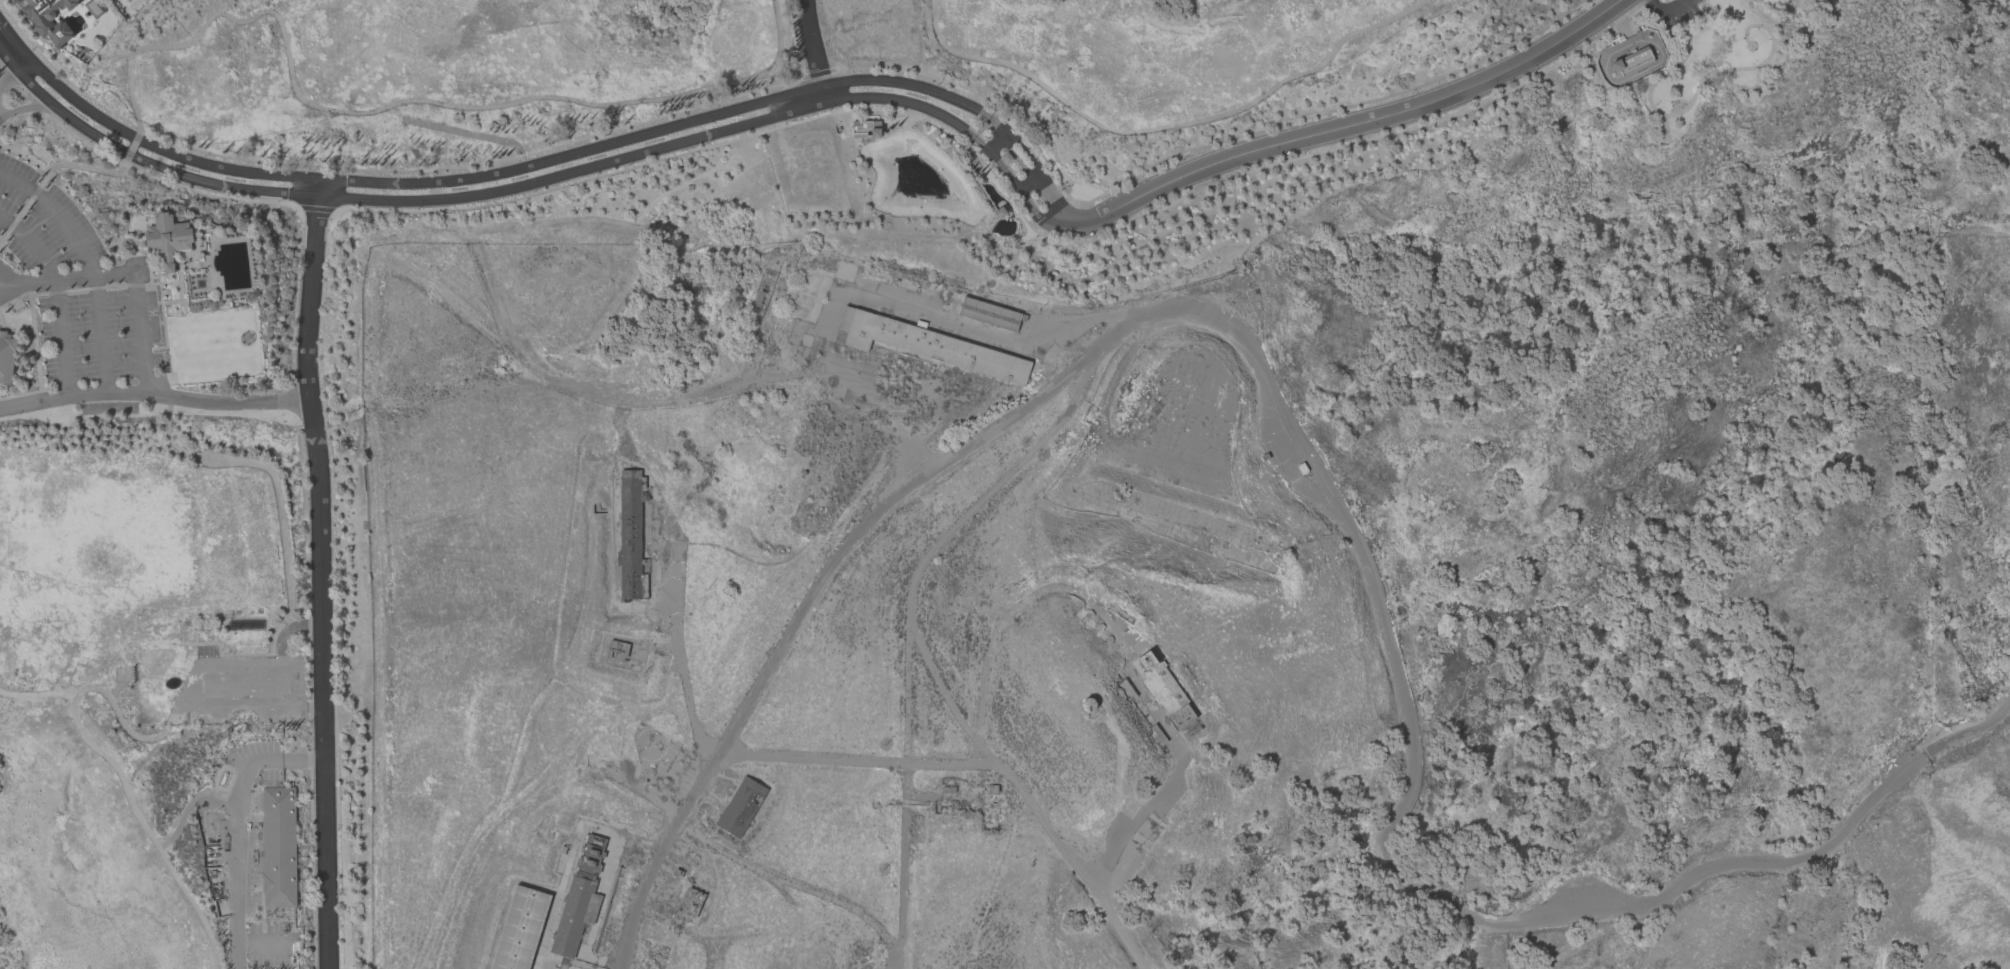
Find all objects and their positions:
building: (128, 0)
building: (49, 18)
road: (815, 47)
park: (1172, 54)
park: (1704, 58)
park: (441, 74)
road: (8, 77)
road: (30, 107)
road: (4, 112)
road: (1361, 125)
building: (865, 129)
road: (552, 173)
building: (168, 238)
parking lot: (44, 240)
road: (31, 246)
road: (88, 253)
road: (8, 280)
road: (879, 302)
road: (140, 312)
road: (102, 334)
road: (65, 338)
building: (929, 346)
building: (7, 357)
road: (154, 394)
road: (1321, 474)
building: (630, 537)
road: (321, 580)
road: (1124, 637)
park: (116, 666)
road: (683, 671)
building: (1167, 695)
road: (983, 766)
building: (740, 807)
road: (239, 825)
building: (278, 847)
road: (904, 860)
road: (794, 886)
building: (519, 929)
road: (900, 962)

